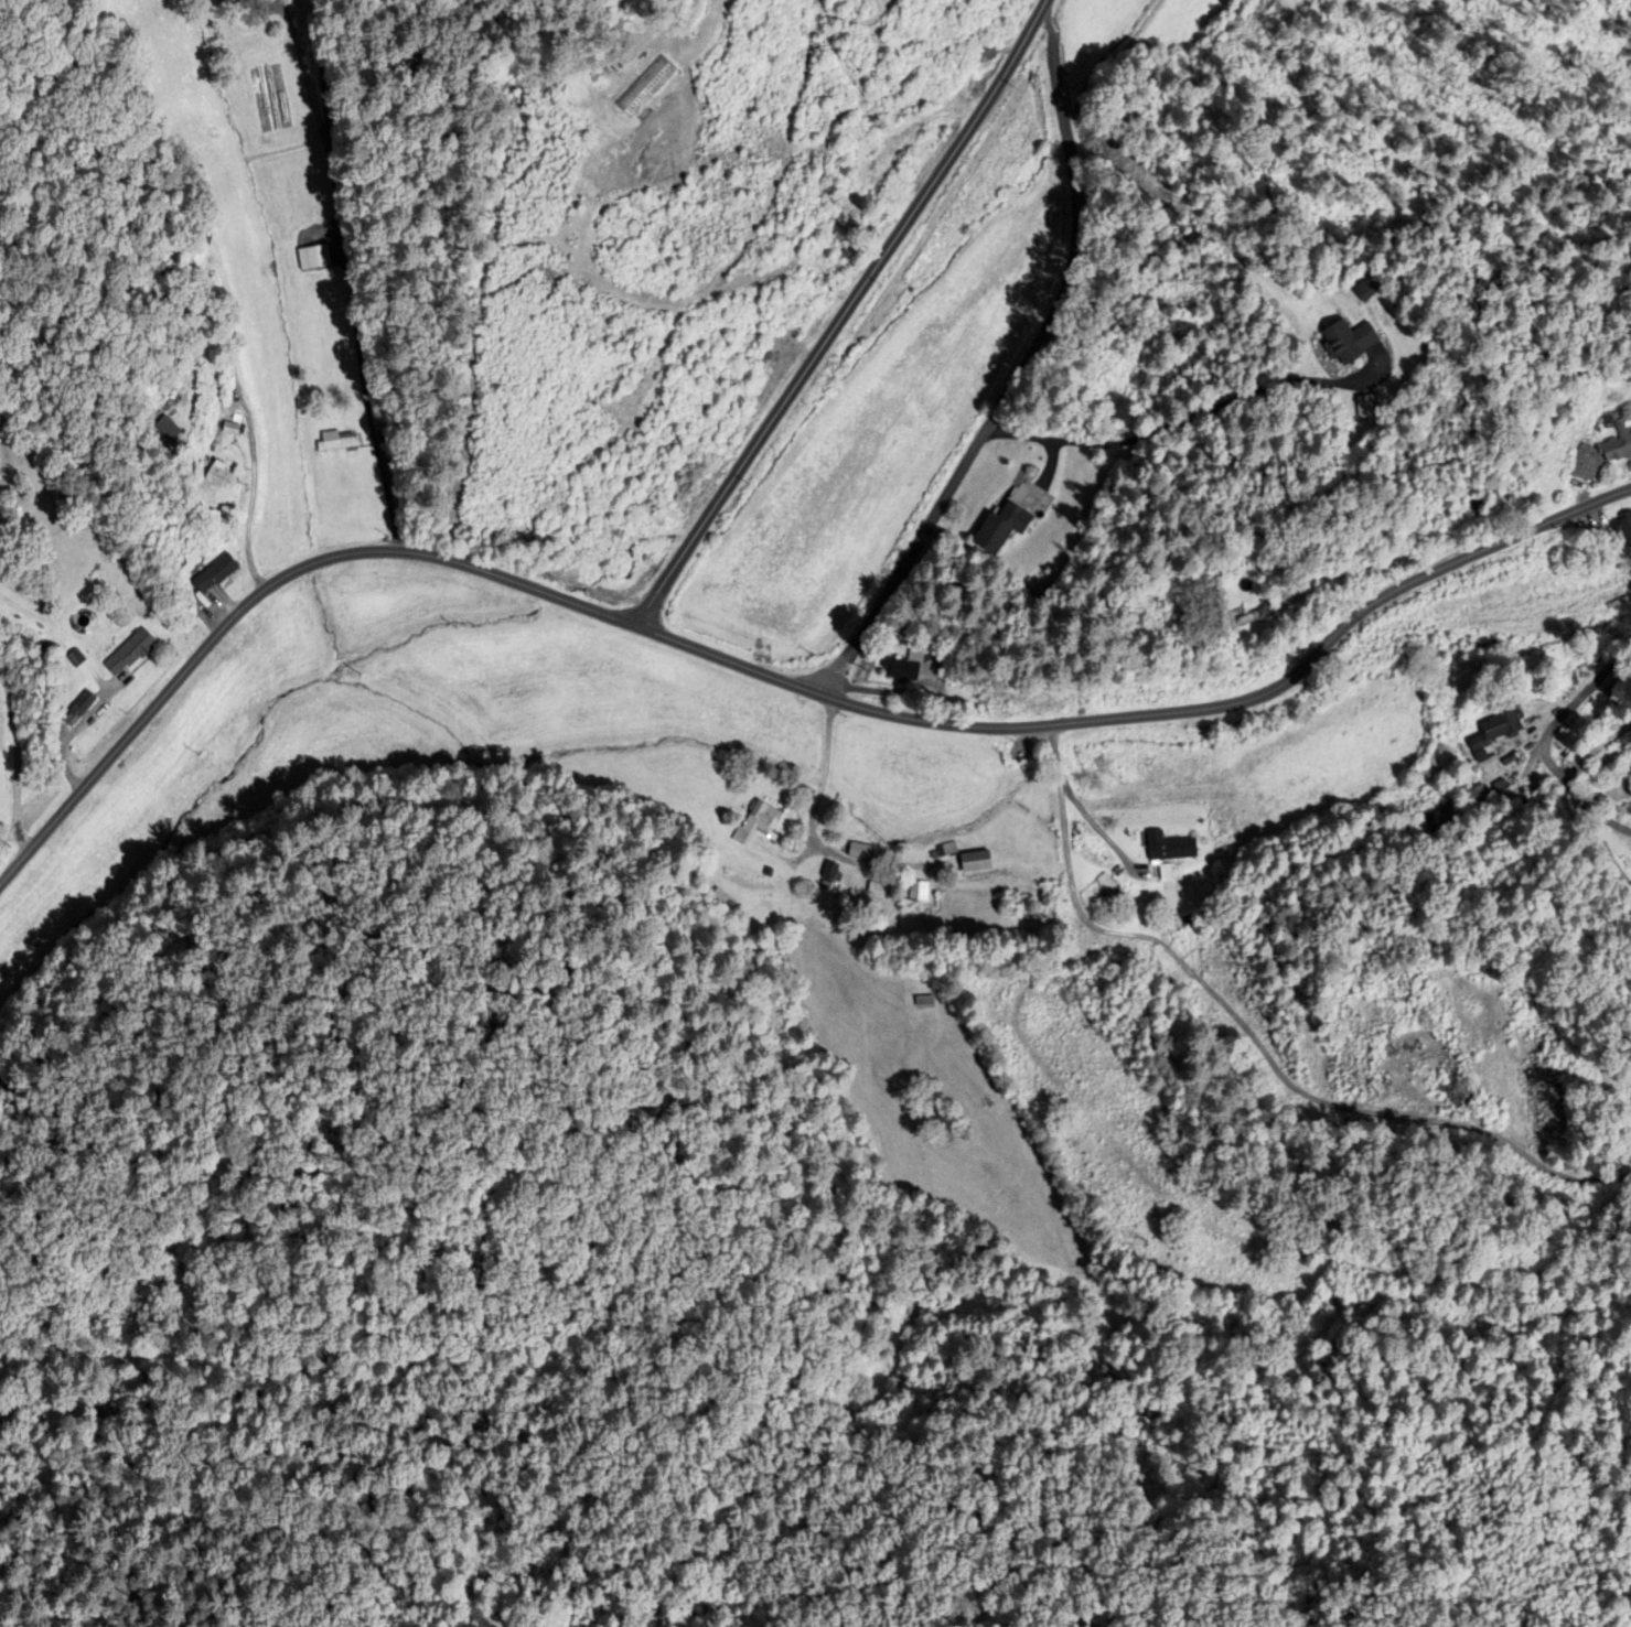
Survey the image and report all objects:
building: (257, 1)
road: (323, 76)
road: (1060, 98)
road: (350, 273)
building: (1366, 294)
road: (839, 313)
building: (1351, 342)
road: (1179, 424)
building: (168, 429)
building: (339, 442)
building: (1601, 454)
road: (972, 455)
building: (219, 476)
building: (1001, 528)
building: (1623, 528)
building: (215, 574)
building: (1256, 618)
building: (130, 654)
building: (904, 670)
road: (768, 677)
building: (79, 710)
building: (1498, 733)
road: (1546, 736)
road: (19, 759)
building: (1478, 795)
road: (1097, 816)
building: (1451, 818)
building: (757, 823)
building: (1170, 848)
building: (869, 852)
building: (977, 862)
building: (830, 876)
building: (1107, 885)
building: (880, 890)
building: (919, 892)
building: (925, 1002)
road: (1260, 1036)
building: (1308, 1250)

